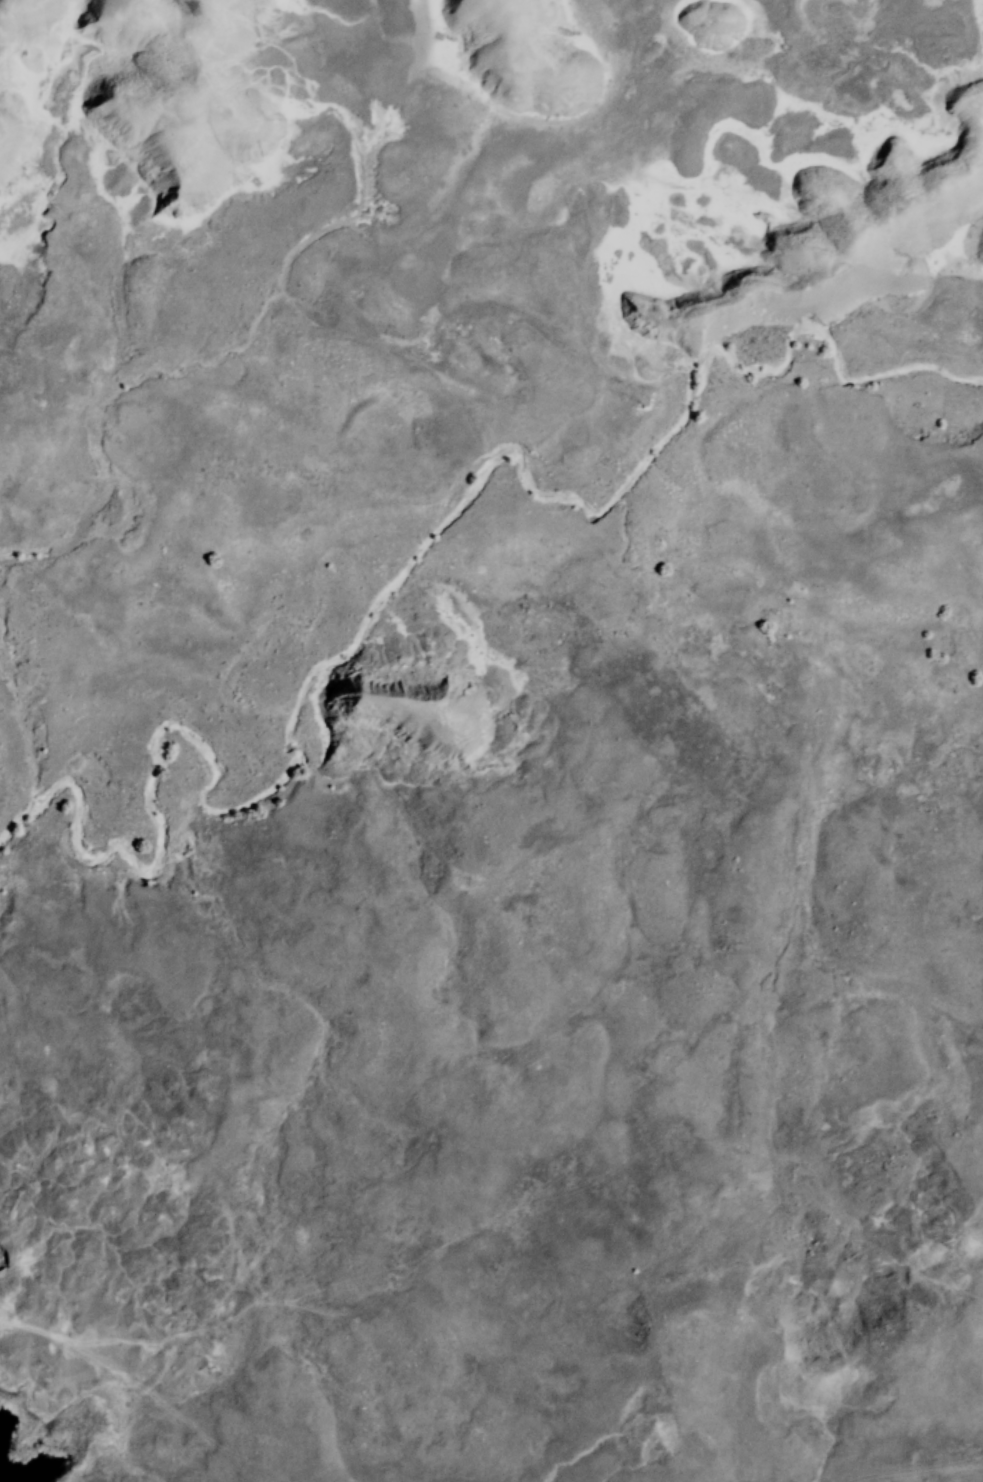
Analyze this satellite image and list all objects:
road: (467, 1233)
road: (163, 1407)
road: (912, 1469)

